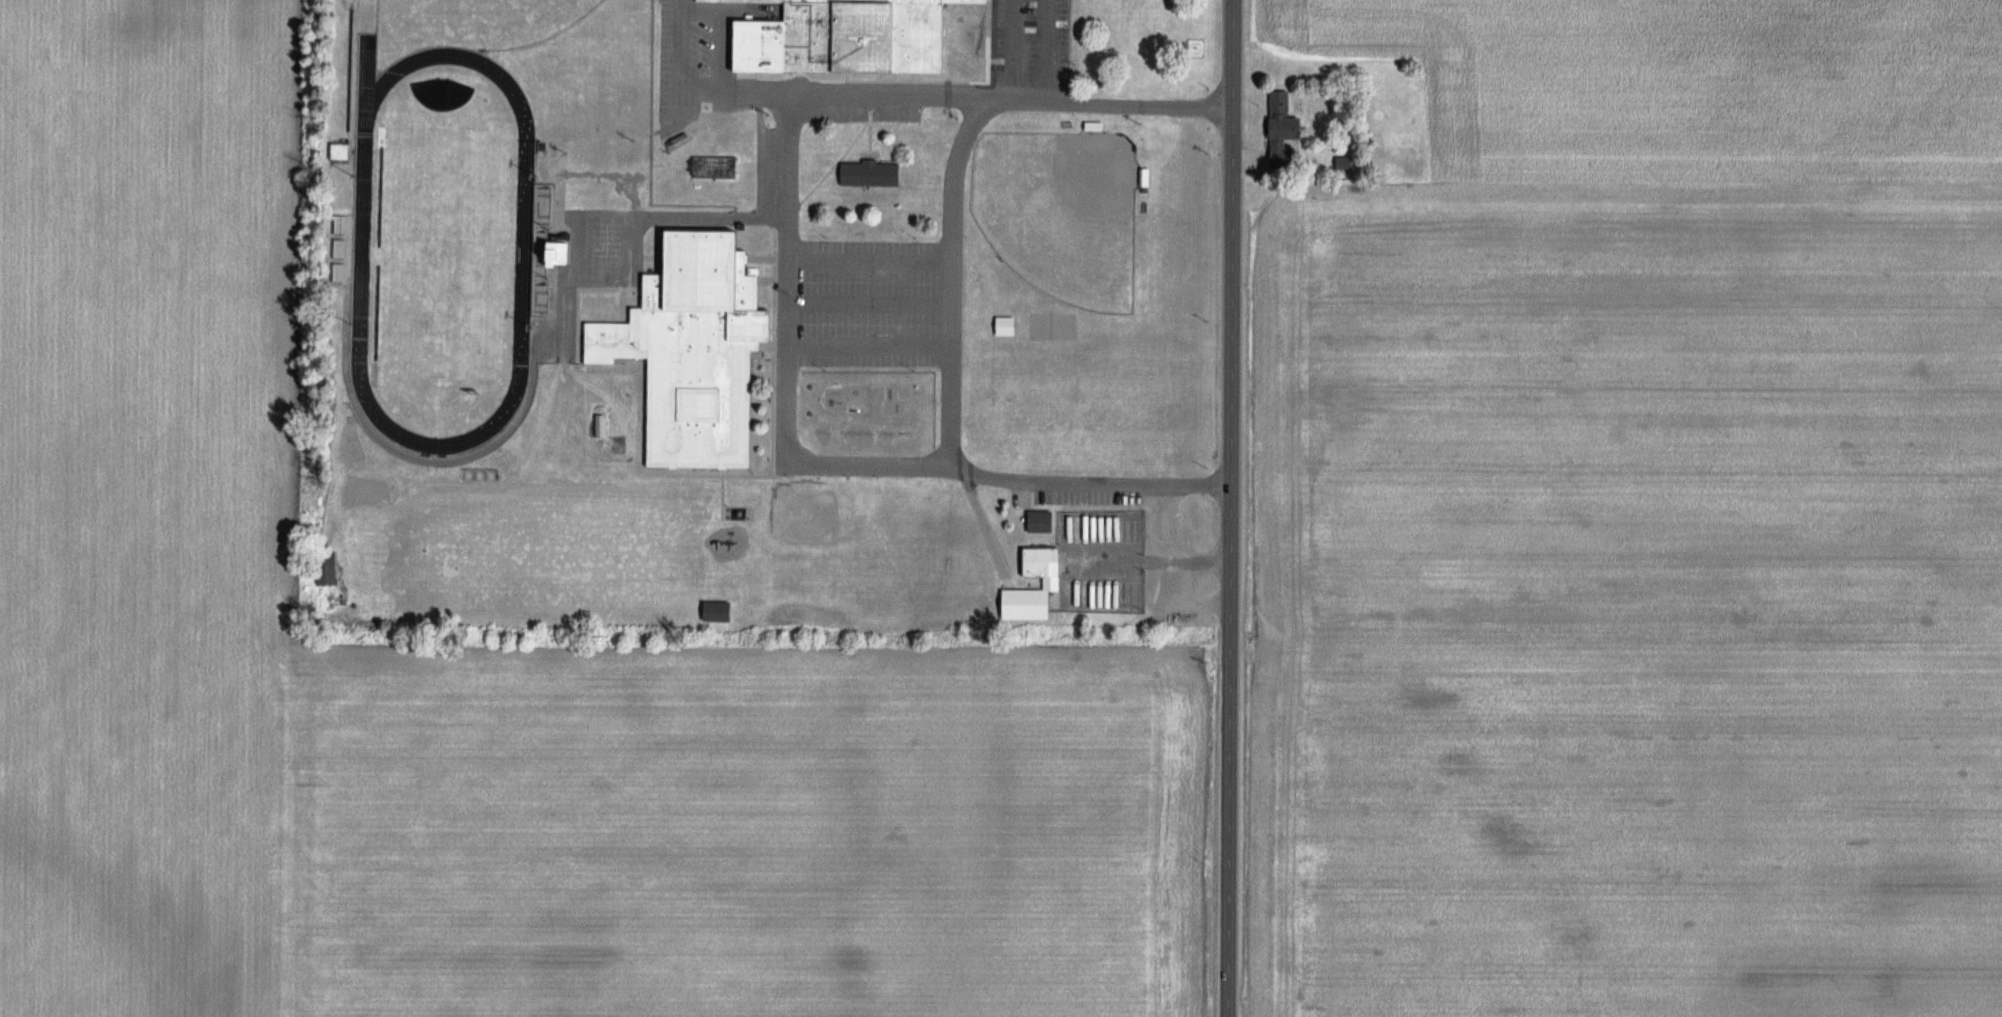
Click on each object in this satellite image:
building: (974, 0)
building: (351, 3)
park: (487, 17)
building: (845, 36)
parking lot: (1032, 41)
road: (1014, 49)
road: (1046, 50)
parking lot: (716, 65)
road: (923, 80)
road: (897, 89)
road: (687, 101)
building: (1273, 125)
road: (857, 142)
building: (344, 150)
road: (848, 158)
road: (869, 158)
building: (875, 173)
road: (679, 216)
park: (1068, 224)
road: (768, 246)
track: (523, 247)
park: (446, 253)
building: (562, 254)
road: (875, 277)
road: (957, 283)
road: (786, 284)
road: (794, 287)
parking lot: (875, 307)
road: (875, 309)
building: (1009, 326)
road: (875, 339)
road: (778, 352)
building: (702, 355)
road: (786, 472)
road: (730, 473)
road: (942, 477)
road: (1228, 508)
road: (1171, 513)
building: (1042, 521)
building: (1030, 563)
road: (1147, 564)
building: (1051, 567)
building: (330, 568)
parking lot: (1127, 568)
building: (1030, 604)
road: (1211, 605)
building: (719, 611)

